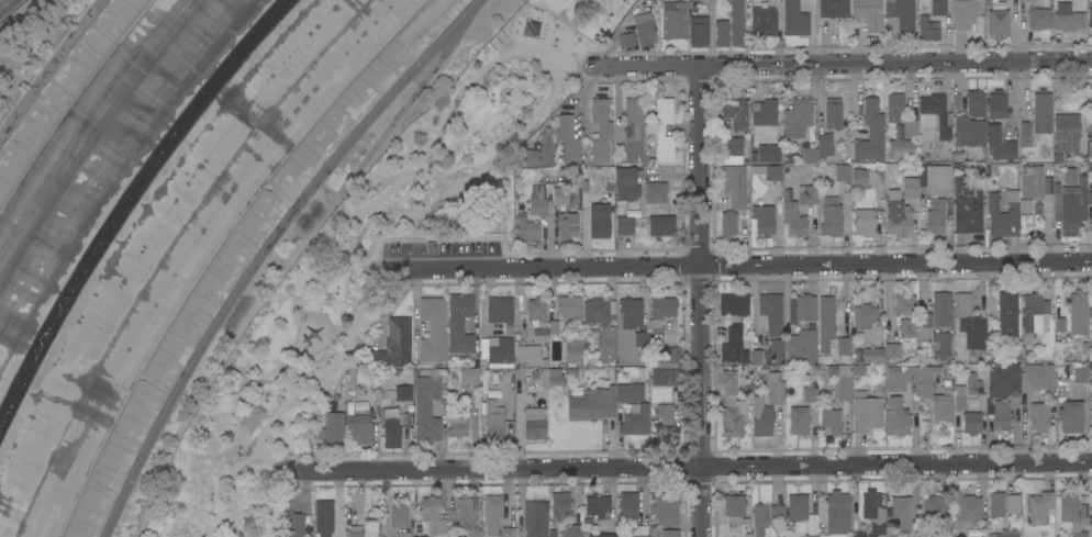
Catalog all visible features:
building: (1025, 0)
building: (1090, 0)
road: (4, 3)
building: (938, 7)
building: (833, 8)
building: (963, 12)
building: (867, 13)
building: (902, 14)
building: (1090, 16)
building: (1067, 18)
building: (672, 19)
building: (794, 19)
building: (1038, 19)
building: (764, 22)
building: (998, 22)
building: (736, 23)
building: (927, 29)
building: (644, 30)
building: (698, 31)
building: (721, 33)
building: (626, 41)
road: (534, 55)
road: (895, 60)
road: (653, 65)
road: (1009, 69)
building: (1091, 101)
building: (976, 103)
road: (1010, 105)
building: (894, 107)
building: (1041, 111)
building: (765, 113)
building: (833, 113)
building: (735, 114)
building: (935, 115)
building: (798, 118)
building: (911, 127)
building: (998, 128)
building: (600, 130)
building: (635, 130)
building: (1024, 130)
building: (662, 131)
building: (969, 131)
building: (900, 132)
building: (870, 133)
building: (1066, 133)
building: (568, 139)
building: (545, 141)
building: (824, 145)
building: (733, 146)
building: (1090, 148)
building: (900, 149)
building: (767, 154)
building: (807, 154)
building: (958, 156)
building: (843, 172)
building: (773, 174)
road: (439, 177)
building: (859, 178)
building: (935, 178)
building: (1032, 181)
building: (909, 182)
building: (625, 184)
building: (735, 186)
building: (655, 192)
building: (806, 194)
building: (566, 197)
building: (1090, 199)
river: (129, 201)
building: (1070, 206)
building: (538, 208)
building: (982, 208)
building: (935, 216)
building: (831, 217)
building: (597, 219)
building: (793, 219)
building: (764, 221)
building: (863, 223)
building: (900, 223)
building: (727, 224)
building: (568, 226)
building: (624, 226)
building: (661, 226)
building: (526, 230)
road: (264, 249)
parking lot: (446, 249)
park: (364, 261)
road: (895, 264)
road: (543, 266)
road: (277, 276)
road: (699, 300)
building: (733, 304)
building: (904, 304)
building: (568, 305)
building: (662, 307)
building: (802, 309)
building: (499, 310)
building: (941, 310)
building: (771, 312)
building: (1078, 312)
building: (629, 313)
building: (1007, 315)
building: (1033, 315)
building: (863, 316)
building: (537, 320)
building: (825, 322)
building: (459, 323)
building: (970, 324)
building: (1060, 324)
building: (602, 325)
building: (924, 325)
building: (554, 327)
building: (432, 328)
building: (906, 328)
building: (734, 333)
building: (640, 338)
building: (940, 345)
building: (393, 346)
building: (843, 346)
building: (772, 347)
building: (801, 347)
building: (892, 350)
building: (571, 351)
building: (500, 353)
building: (733, 354)
building: (1010, 354)
building: (668, 355)
building: (525, 356)
building: (871, 356)
building: (755, 357)
building: (1080, 374)
building: (469, 376)
building: (666, 377)
building: (900, 377)
building: (550, 378)
building: (1018, 379)
building: (382, 380)
building: (840, 381)
building: (925, 382)
building: (777, 388)
building: (976, 389)
building: (458, 392)
building: (628, 392)
building: (403, 393)
road: (290, 394)
building: (810, 394)
building: (959, 398)
building: (592, 404)
building: (943, 404)
building: (1091, 404)
building: (731, 407)
building: (426, 409)
building: (866, 412)
building: (665, 414)
building: (1001, 415)
building: (1039, 416)
building: (1070, 416)
building: (761, 417)
building: (896, 417)
building: (249, 419)
building: (635, 419)
building: (799, 421)
building: (493, 422)
building: (831, 422)
building: (971, 423)
building: (534, 424)
building: (456, 426)
building: (331, 428)
building: (359, 428)
building: (391, 428)
building: (665, 432)
road: (895, 465)
road: (472, 468)
building: (995, 504)
building: (1012, 504)
building: (560, 505)
building: (597, 506)
building: (627, 507)
building: (1038, 507)
building: (796, 508)
building: (934, 508)
building: (734, 510)
building: (464, 511)
building: (666, 511)
building: (967, 511)
building: (885, 512)
building: (1070, 512)
building: (492, 513)
building: (835, 513)
building: (433, 514)
building: (777, 514)
building: (398, 515)
building: (324, 518)
building: (535, 518)
building: (759, 518)
building: (296, 525)
building: (370, 527)
building: (637, 530)
building: (355, 532)
building: (571, 532)
building: (1091, 532)
building: (472, 533)
building: (508, 533)
building: (669, 533)
building: (1006, 533)
building: (403, 534)
building: (893, 534)
building: (601, 535)
building: (822, 535)
building: (860, 535)
building: (811, 536)

